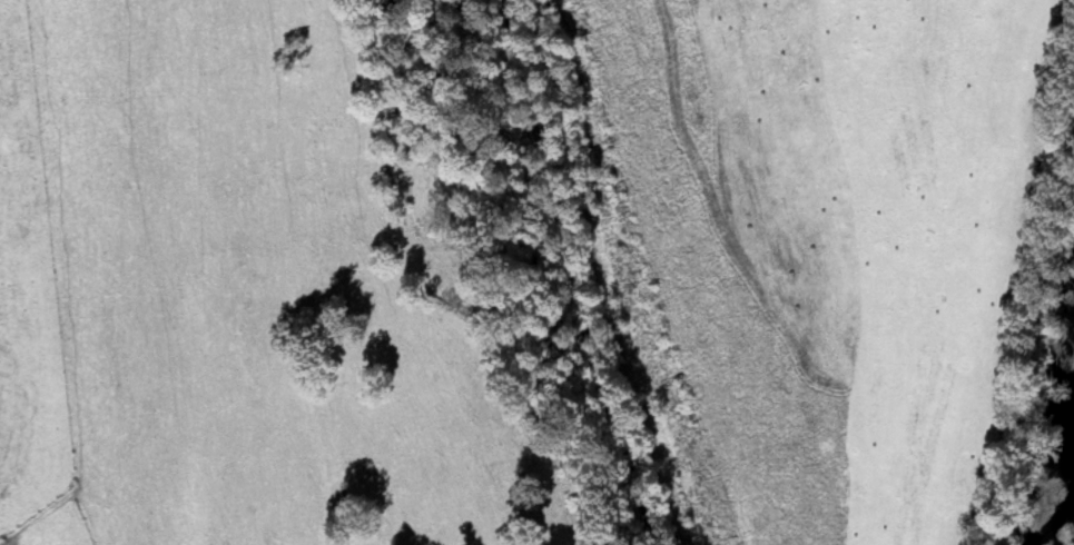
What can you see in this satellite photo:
road: (563, 276)

